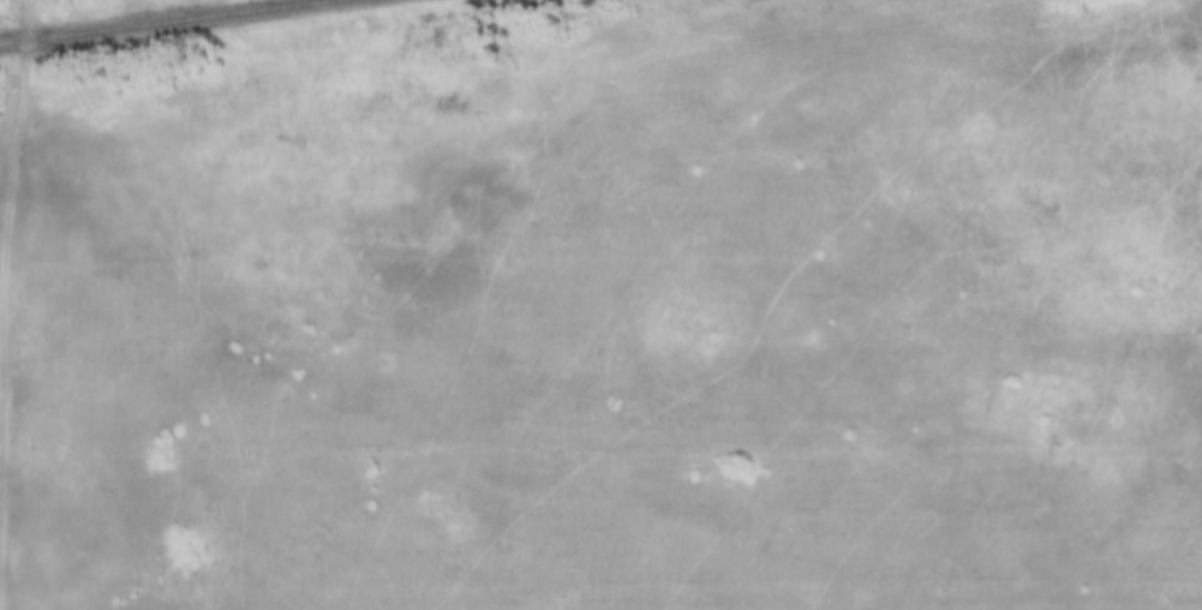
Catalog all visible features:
railway: (160, 20)
road: (19, 305)

